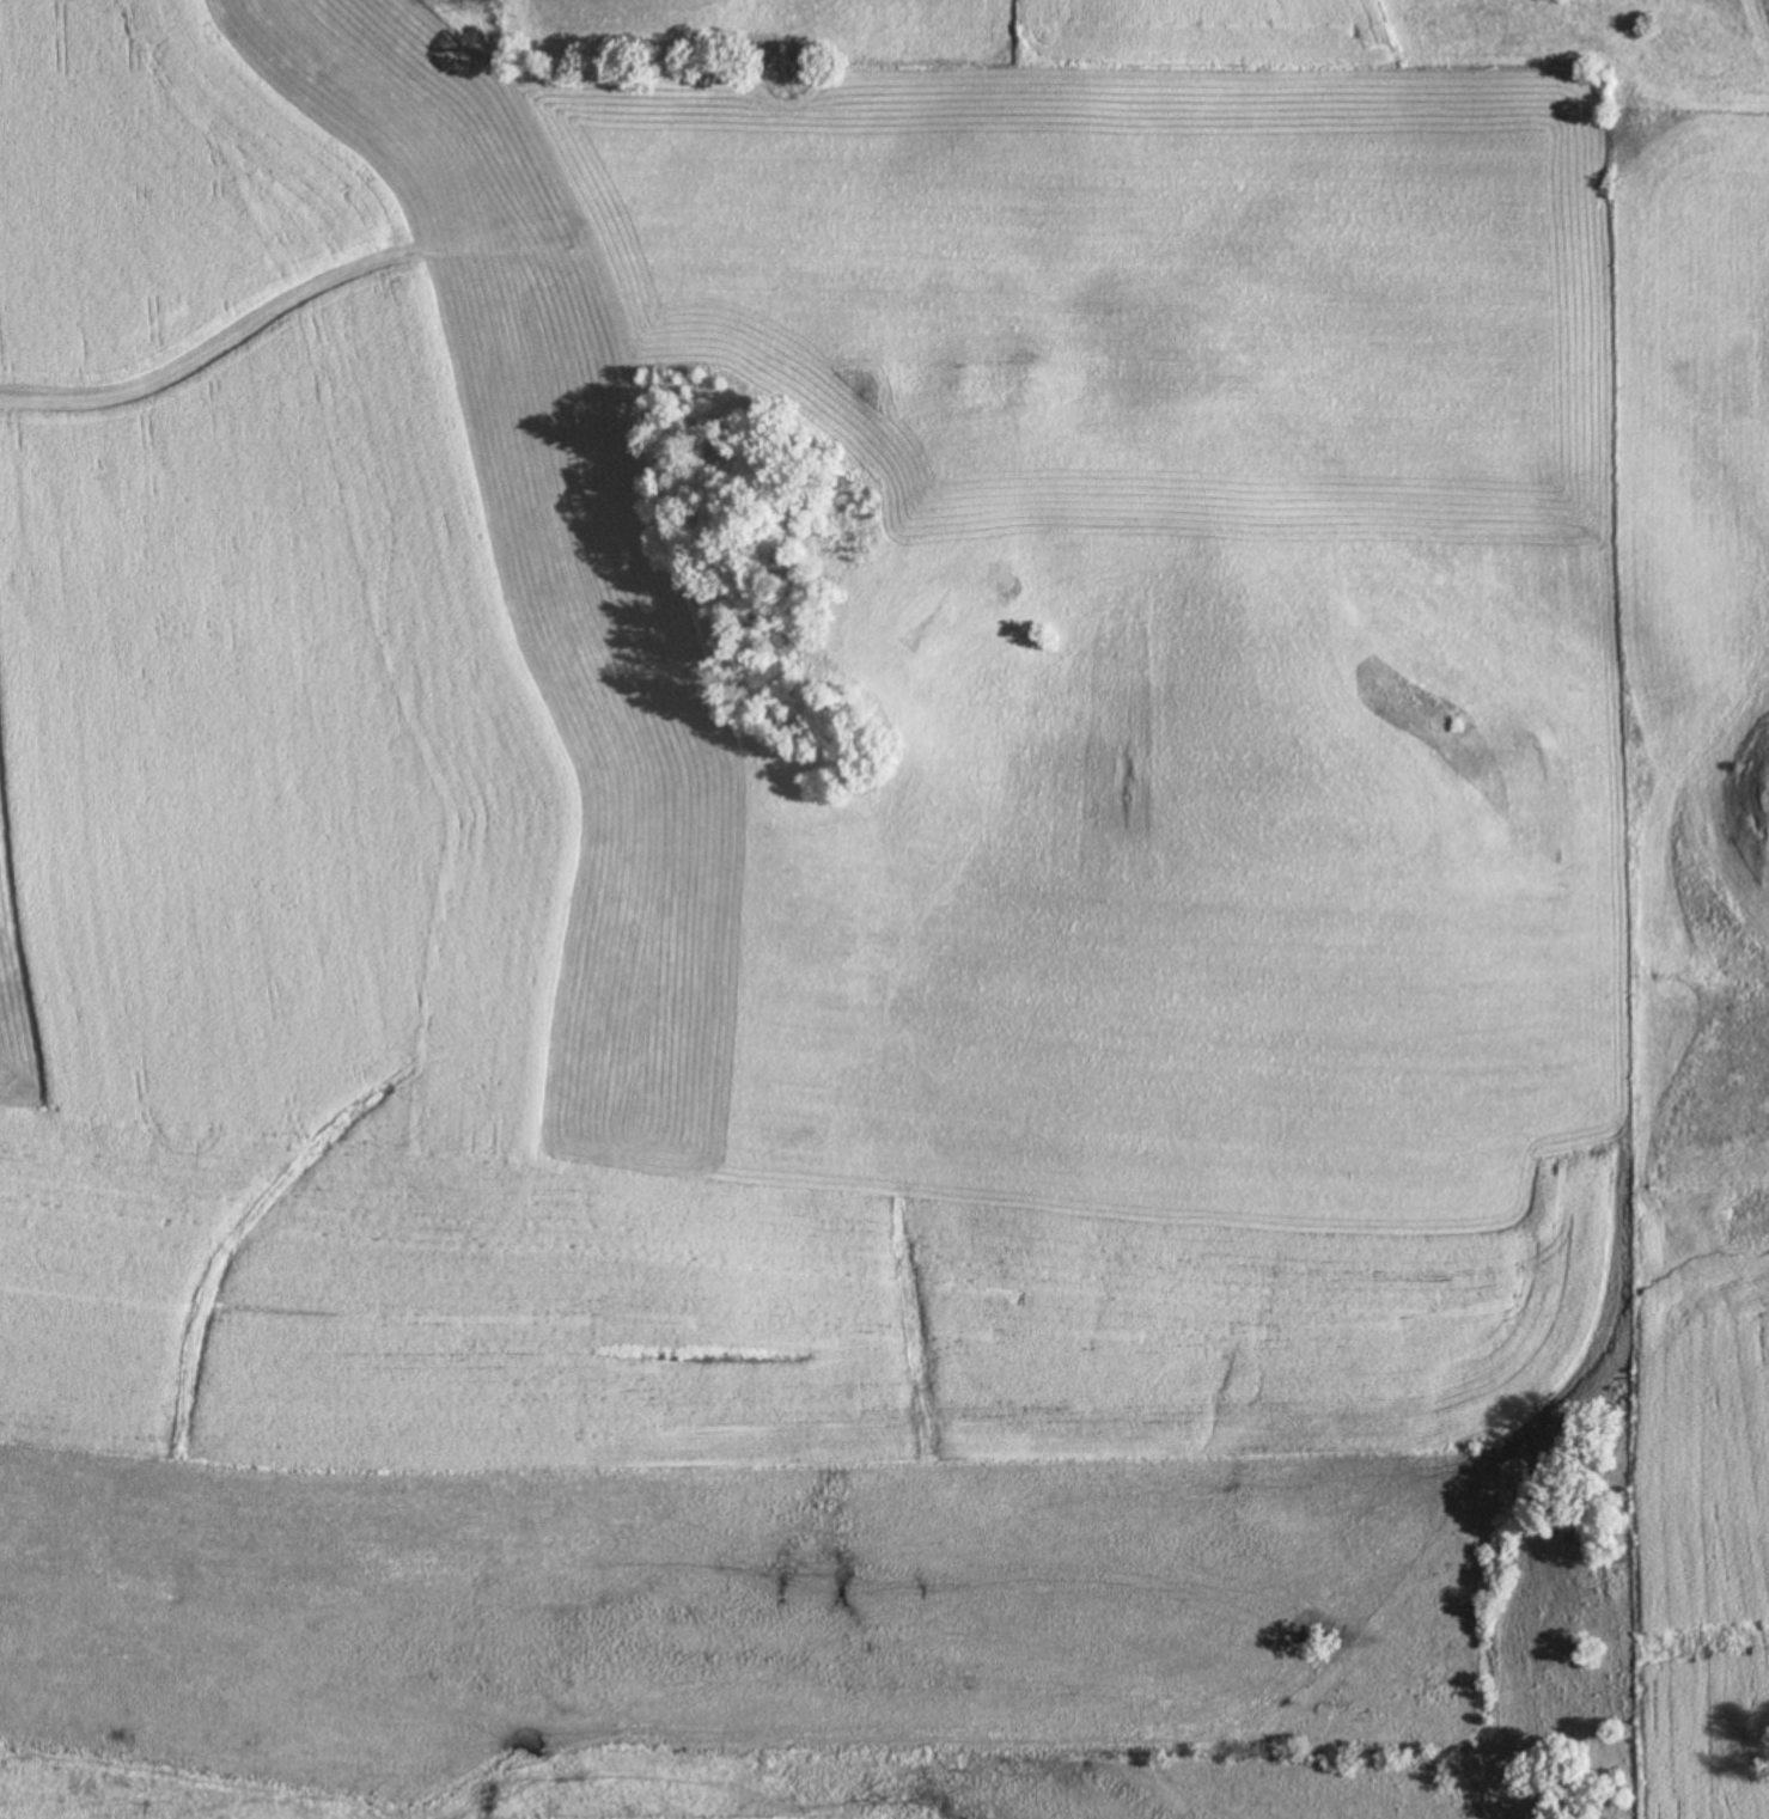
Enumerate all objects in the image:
road: (56, 405)

